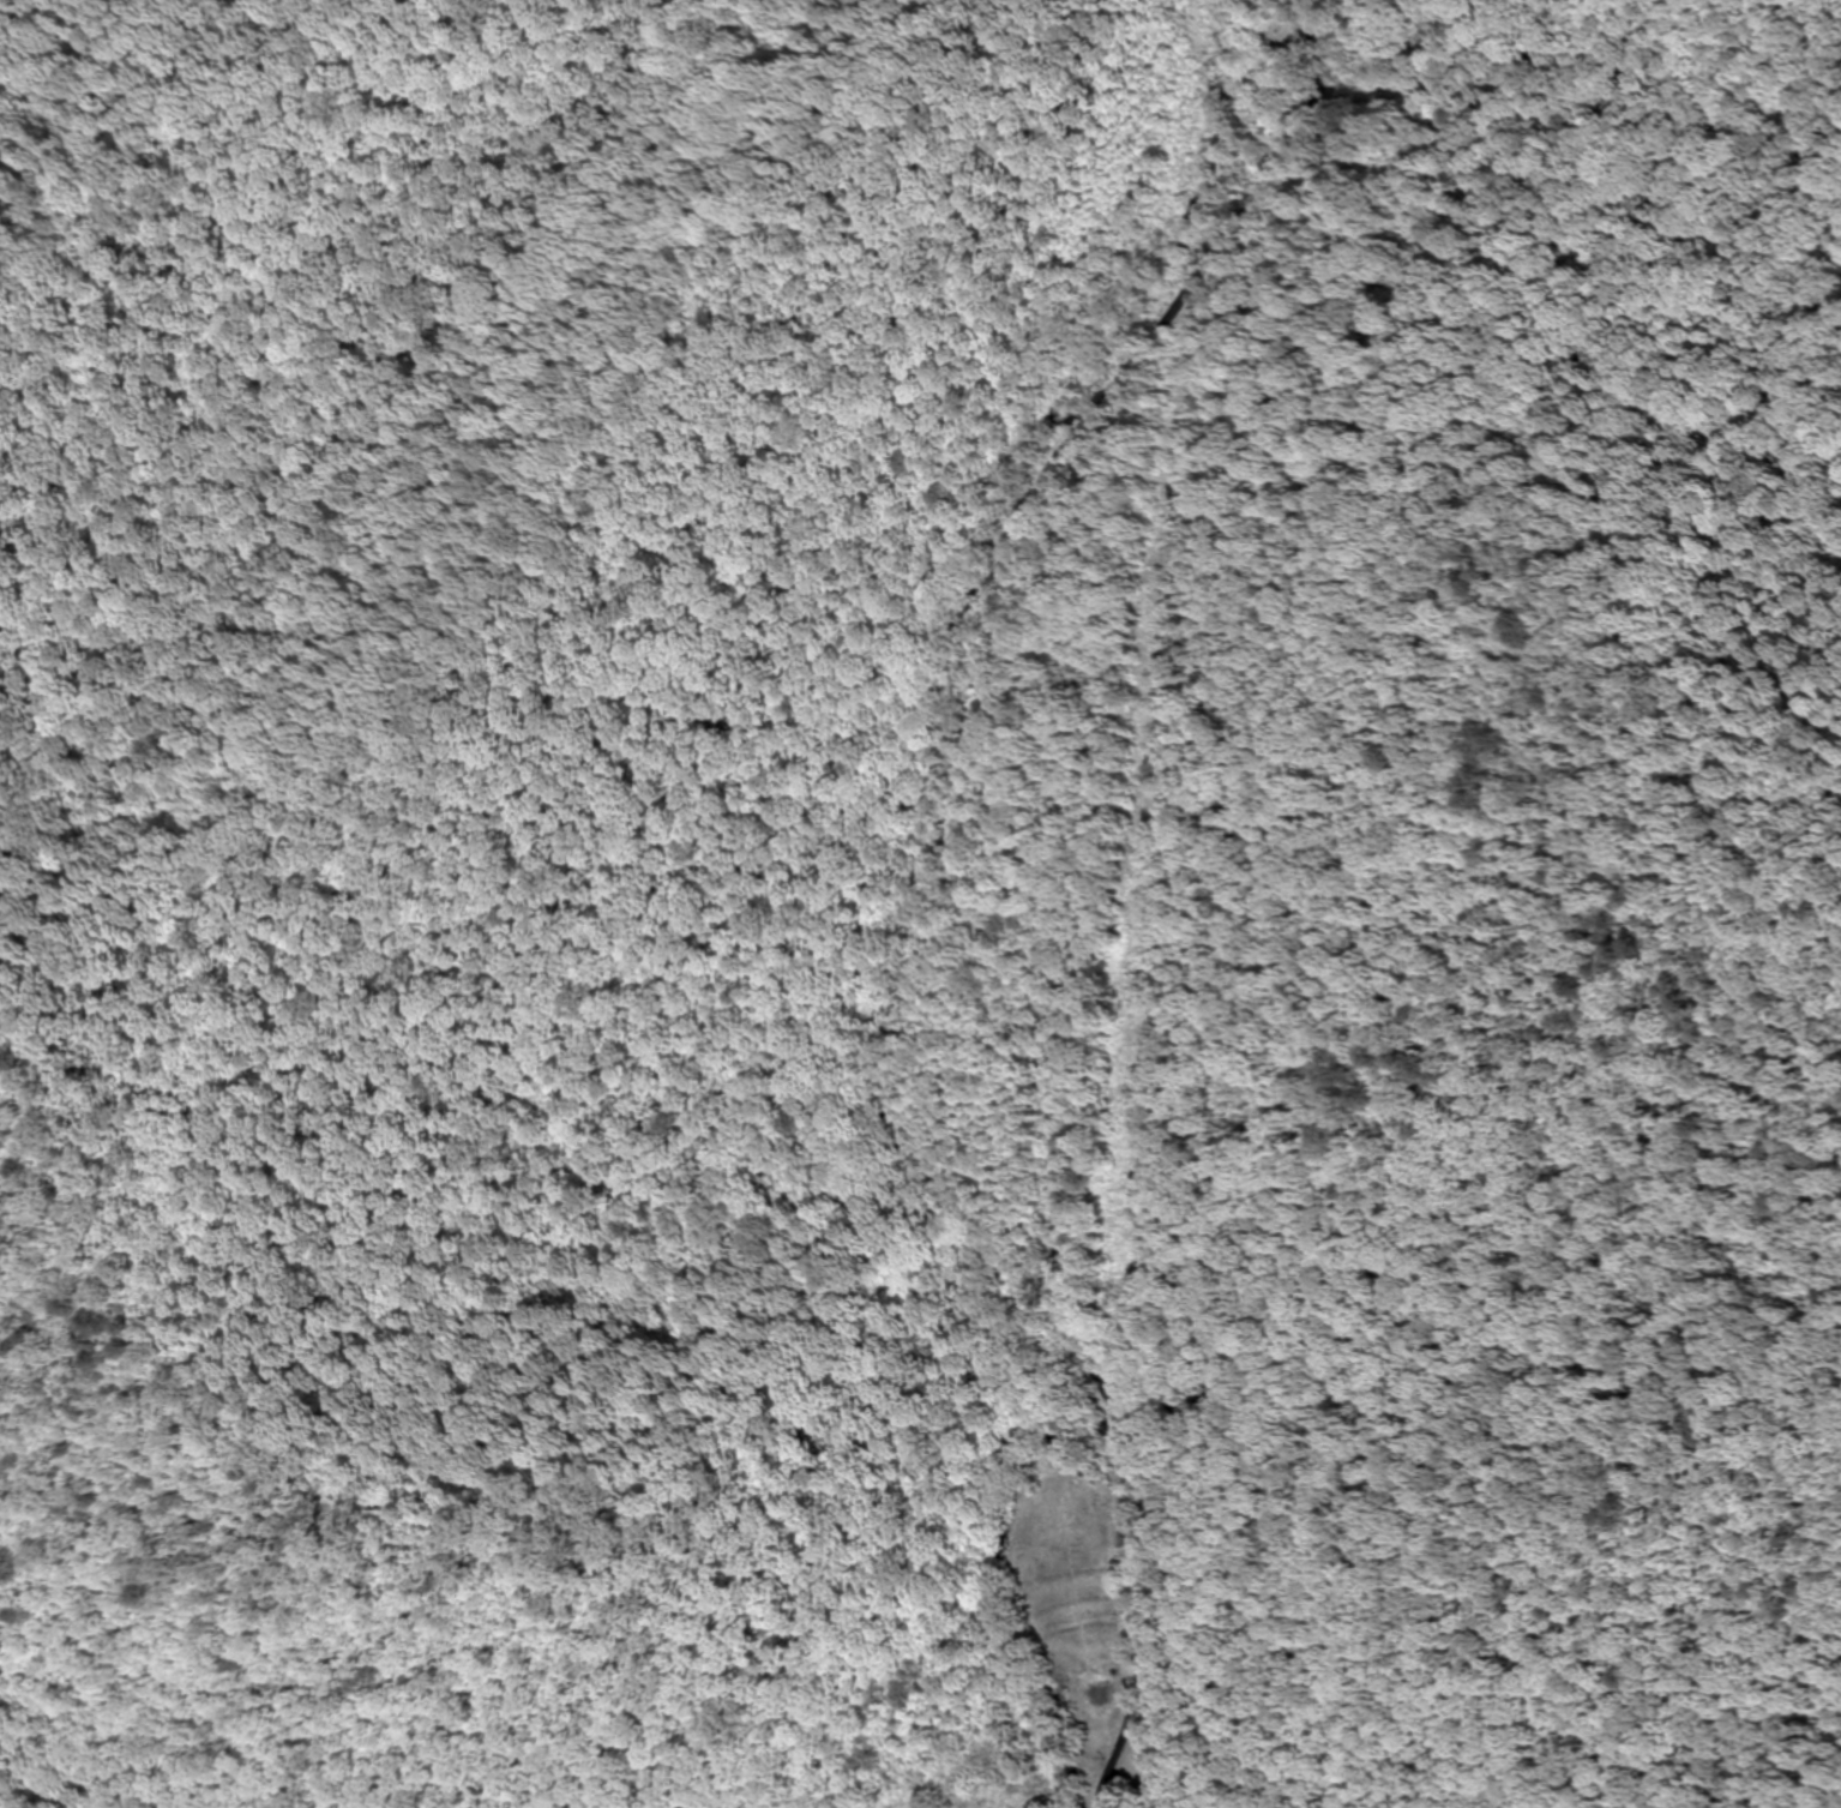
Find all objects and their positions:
road: (1000, 863)

